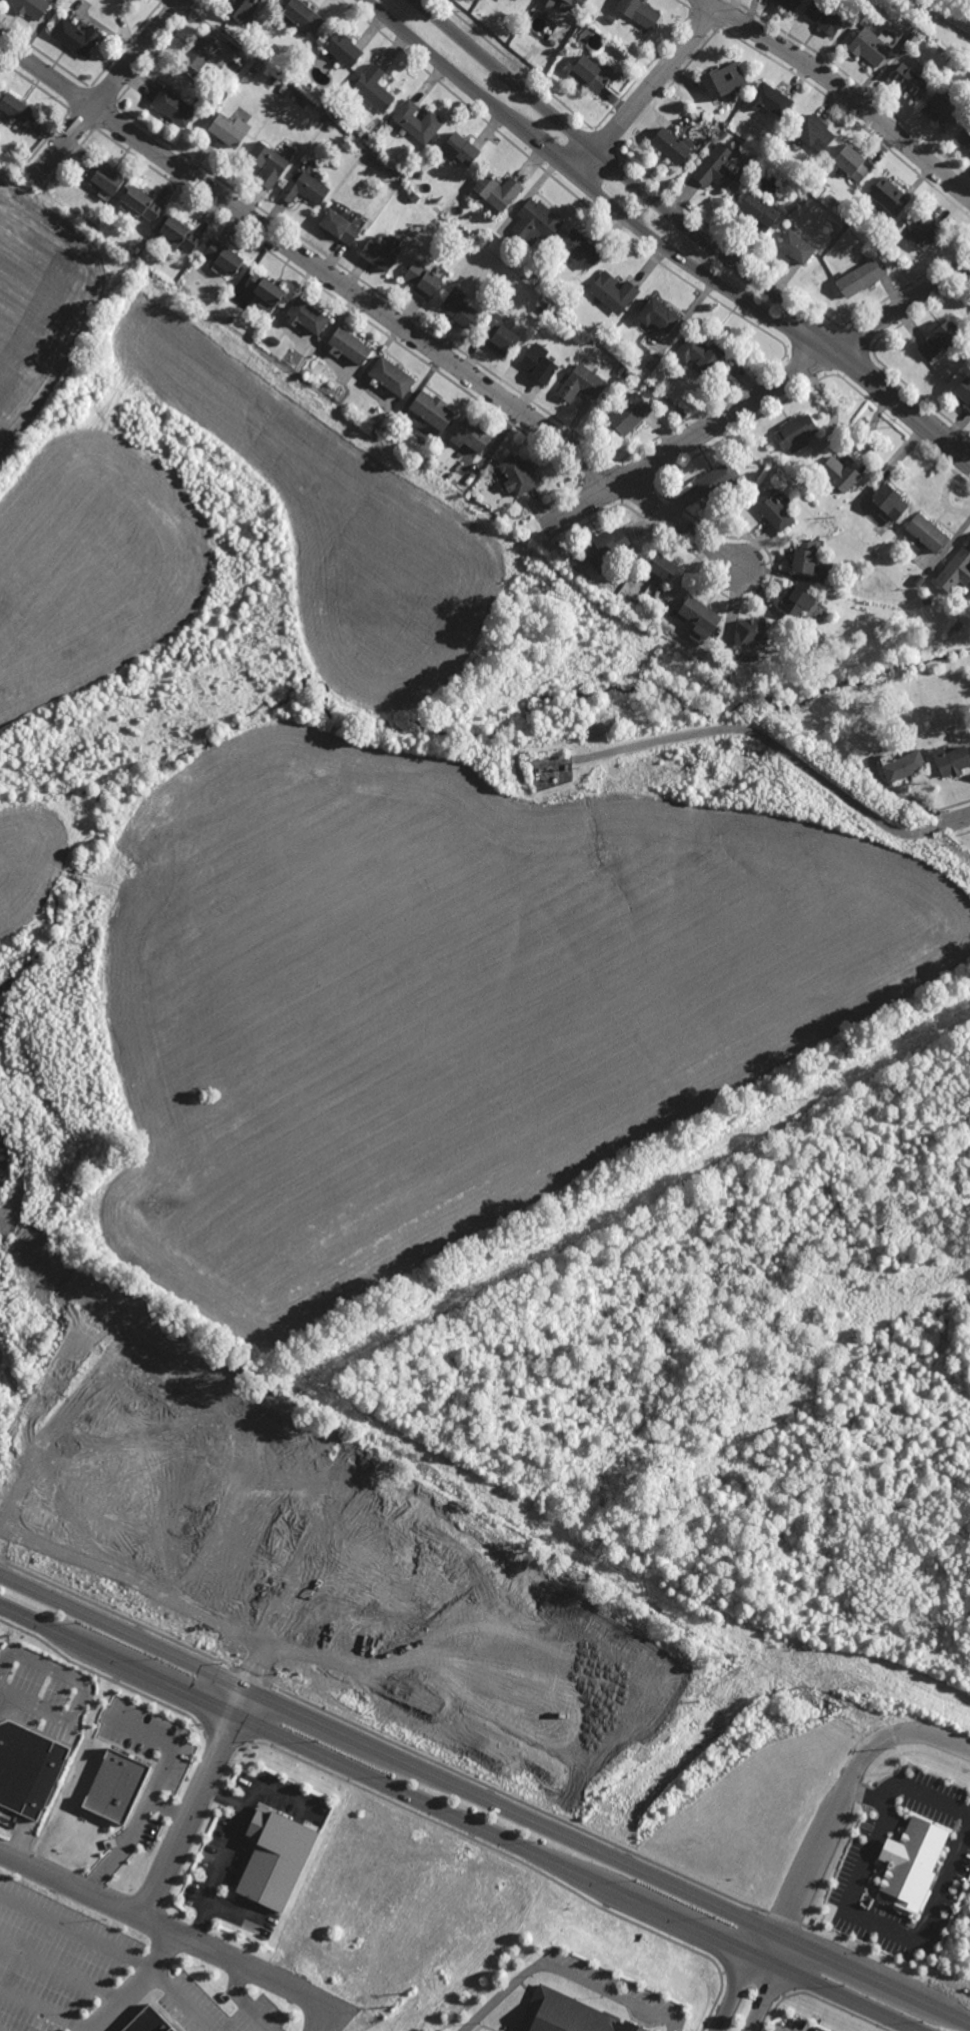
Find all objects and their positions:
building: (127, 1)
building: (547, 3)
building: (569, 4)
building: (788, 4)
building: (30, 7)
building: (878, 9)
building: (241, 10)
building: (637, 12)
building: (823, 17)
building: (300, 18)
road: (940, 18)
building: (609, 19)
building: (584, 22)
park: (935, 26)
building: (75, 37)
building: (870, 46)
building: (343, 49)
building: (199, 53)
building: (258, 66)
building: (588, 75)
road: (658, 79)
building: (907, 80)
building: (722, 81)
building: (374, 89)
road: (107, 90)
road: (844, 91)
building: (770, 100)
building: (942, 107)
building: (173, 108)
building: (15, 111)
building: (700, 117)
building: (324, 119)
building: (418, 122)
building: (227, 131)
building: (721, 133)
building: (815, 133)
building: (965, 137)
building: (671, 146)
building: (462, 147)
building: (267, 163)
building: (851, 163)
road: (586, 164)
building: (717, 167)
building: (416, 172)
building: (104, 175)
road: (625, 175)
building: (305, 187)
building: (814, 188)
building: (497, 189)
road: (589, 190)
building: (411, 194)
building: (889, 195)
building: (141, 201)
building: (758, 210)
power tower: (645, 212)
building: (536, 221)
building: (339, 223)
building: (445, 223)
building: (925, 230)
building: (177, 234)
building: (578, 247)
building: (795, 247)
building: (377, 254)
building: (223, 256)
building: (861, 276)
building: (423, 278)
building: (264, 290)
building: (612, 291)
building: (556, 294)
building: (458, 306)
road: (372, 307)
road: (902, 307)
building: (542, 309)
building: (553, 314)
building: (657, 314)
building: (308, 315)
building: (230, 319)
building: (498, 335)
building: (941, 339)
building: (348, 345)
building: (700, 352)
building: (538, 363)
building: (621, 369)
building: (628, 374)
building: (391, 376)
building: (582, 381)
building: (963, 391)
road: (903, 404)
building: (432, 409)
building: (630, 414)
power tower: (893, 422)
building: (795, 430)
building: (470, 436)
road: (690, 440)
building: (840, 473)
building: (516, 474)
building: (719, 478)
building: (889, 500)
building: (489, 504)
building: (773, 510)
building: (926, 532)
building: (606, 546)
building: (805, 556)
building: (659, 566)
building: (956, 570)
building: (919, 579)
building: (620, 598)
building: (927, 600)
building: (796, 601)
building: (699, 616)
building: (958, 625)
building: (752, 630)
road: (777, 747)
building: (950, 762)
building: (901, 766)
road: (964, 817)
road: (113, 1511)
road: (152, 1569)
road: (240, 1704)
road: (34, 1705)
road: (169, 1742)
building: (19, 1765)
building: (116, 1786)
road: (272, 1786)
road: (904, 1786)
road: (843, 1788)
road: (485, 1797)
road: (456, 1820)
road: (134, 1830)
road: (227, 1848)
building: (274, 1859)
building: (911, 1862)
road: (174, 1927)
road: (885, 1927)
road: (76, 1932)
road: (60, 1972)
road: (565, 1972)
road: (739, 1976)
road: (773, 1983)
road: (139, 1984)
road: (181, 1999)
road: (241, 1999)
road: (46, 2008)
building: (567, 2015)
road: (336, 2019)
building: (148, 2022)

